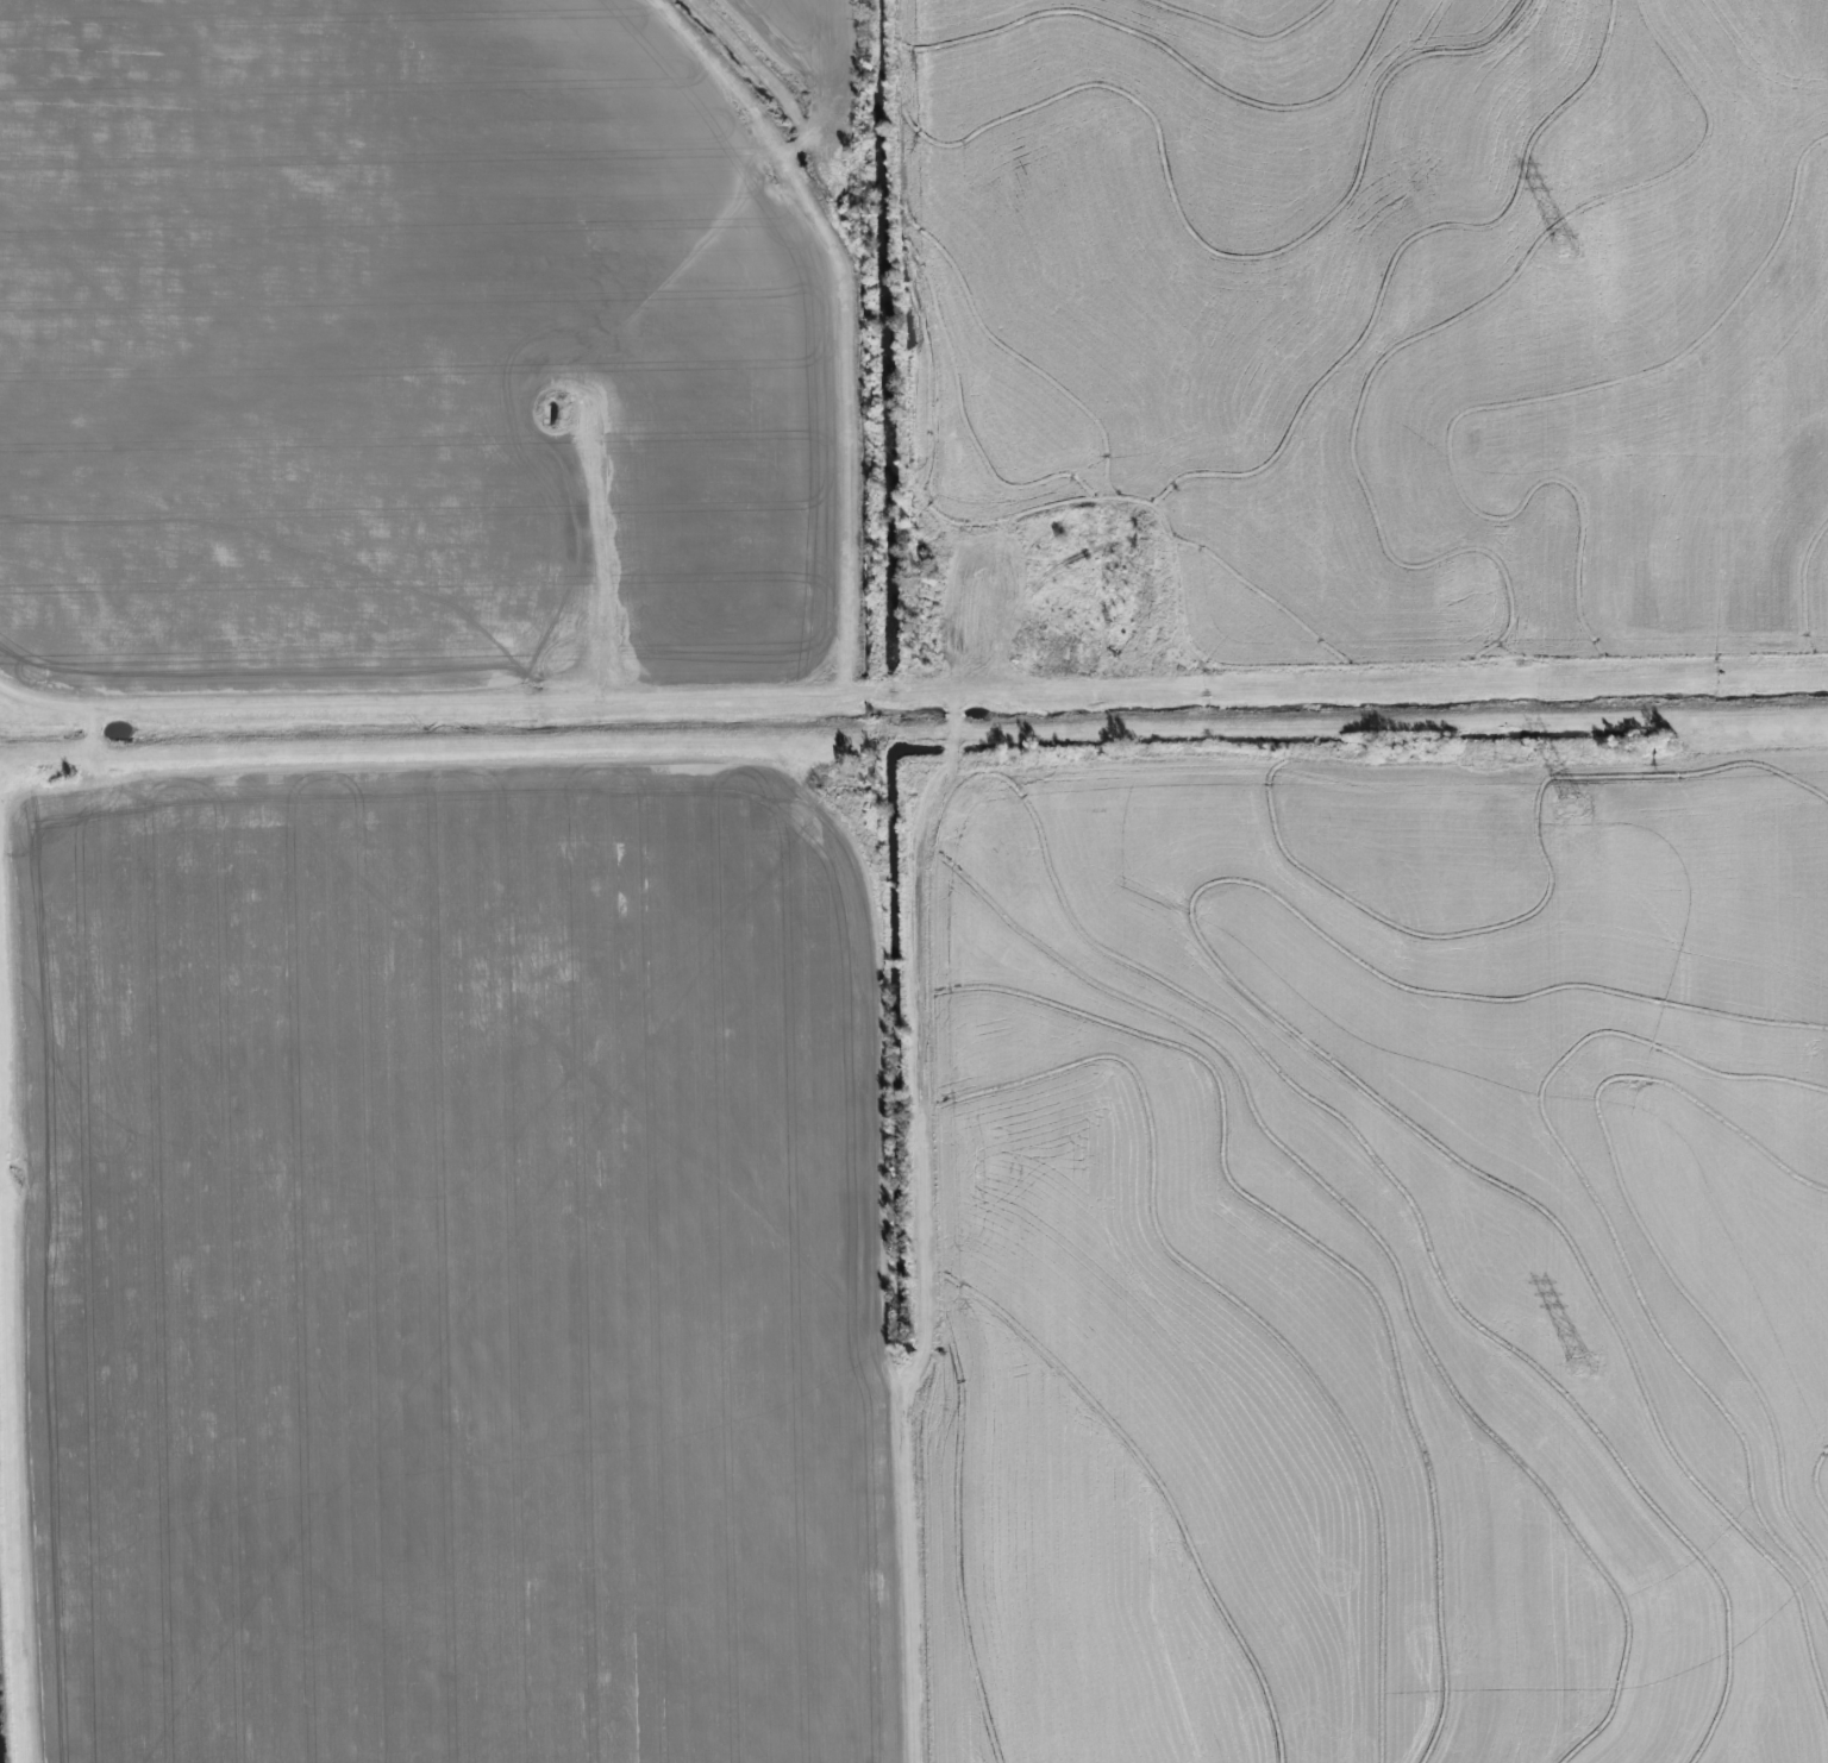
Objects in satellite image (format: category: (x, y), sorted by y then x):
power tower: (1565, 246)
road: (608, 556)
road: (665, 697)
power tower: (1573, 805)
power tower: (1580, 1366)

